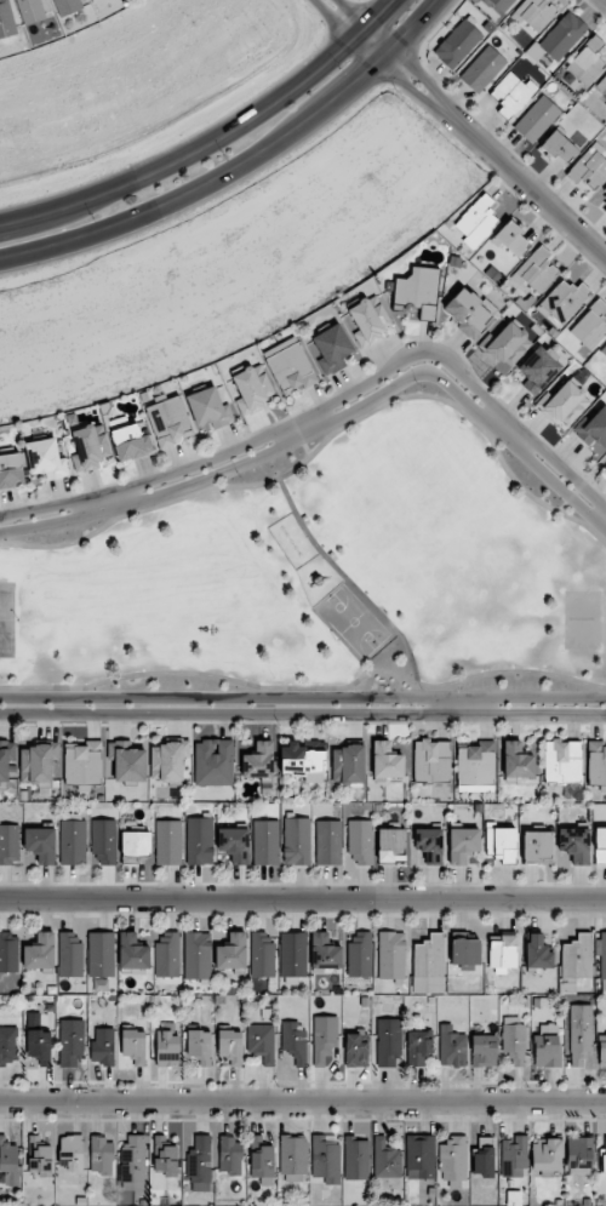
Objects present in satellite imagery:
building: (502, 4)
building: (68, 6)
building: (32, 10)
building: (534, 13)
building: (6, 21)
building: (457, 44)
building: (587, 62)
building: (482, 69)
building: (602, 85)
building: (511, 93)
building: (536, 118)
road: (467, 127)
road: (212, 139)
building: (560, 145)
road: (240, 165)
building: (589, 167)
building: (604, 192)
building: (605, 208)
building: (476, 221)
building: (510, 239)
building: (536, 270)
building: (417, 291)
building: (562, 302)
building: (468, 311)
building: (368, 318)
building: (590, 325)
building: (505, 344)
building: (331, 348)
building: (604, 349)
road: (412, 358)
building: (290, 366)
building: (538, 368)
road: (410, 377)
building: (252, 389)
building: (566, 402)
building: (208, 407)
building: (168, 421)
road: (303, 428)
building: (594, 429)
road: (510, 431)
building: (128, 439)
road: (326, 442)
road: (305, 444)
building: (90, 447)
building: (46, 459)
road: (206, 463)
building: (11, 470)
road: (211, 474)
road: (570, 478)
road: (562, 485)
road: (582, 487)
road: (107, 502)
road: (40, 510)
road: (604, 518)
road: (41, 522)
park: (322, 575)
road: (349, 581)
park: (8, 619)
park: (583, 619)
park: (355, 622)
road: (305, 687)
road: (219, 699)
road: (547, 699)
road: (464, 705)
road: (547, 711)
road: (221, 713)
building: (6, 758)
building: (127, 760)
building: (387, 760)
building: (168, 761)
building: (259, 761)
building: (431, 761)
building: (518, 761)
building: (562, 761)
building: (38, 762)
building: (84, 762)
building: (213, 762)
building: (302, 762)
building: (476, 762)
building: (596, 762)
building: (348, 764)
building: (104, 840)
building: (199, 840)
building: (296, 841)
building: (73, 842)
building: (168, 842)
building: (265, 842)
building: (328, 842)
building: (360, 842)
building: (501, 842)
building: (10, 844)
building: (41, 844)
building: (463, 844)
building: (234, 845)
building: (391, 845)
building: (429, 845)
building: (574, 845)
building: (600, 845)
building: (135, 846)
building: (537, 847)
road: (303, 899)
building: (40, 951)
building: (231, 951)
building: (537, 951)
building: (8, 953)
building: (325, 953)
building: (465, 953)
building: (503, 953)
building: (601, 953)
building: (70, 954)
building: (101, 954)
building: (133, 954)
building: (262, 954)
building: (293, 954)
building: (167, 955)
building: (198, 955)
building: (360, 955)
building: (391, 955)
building: (574, 961)
building: (429, 965)
building: (581, 1033)
building: (324, 1039)
building: (293, 1040)
building: (514, 1040)
building: (38, 1042)
building: (72, 1042)
building: (262, 1042)
building: (389, 1042)
building: (7, 1045)
building: (547, 1045)
building: (103, 1046)
building: (133, 1046)
building: (199, 1046)
building: (230, 1046)
building: (418, 1046)
building: (451, 1046)
building: (167, 1048)
building: (356, 1048)
building: (484, 1051)
road: (303, 1101)
building: (70, 1153)
building: (579, 1153)
building: (102, 1154)
building: (230, 1155)
building: (547, 1155)
building: (39, 1156)
building: (165, 1156)
building: (419, 1156)
building: (484, 1156)
building: (514, 1156)
building: (292, 1158)
building: (325, 1158)
building: (356, 1158)
building: (385, 1159)
building: (453, 1159)
building: (604, 1160)
building: (262, 1161)
building: (8, 1162)
building: (132, 1164)
building: (200, 1164)

